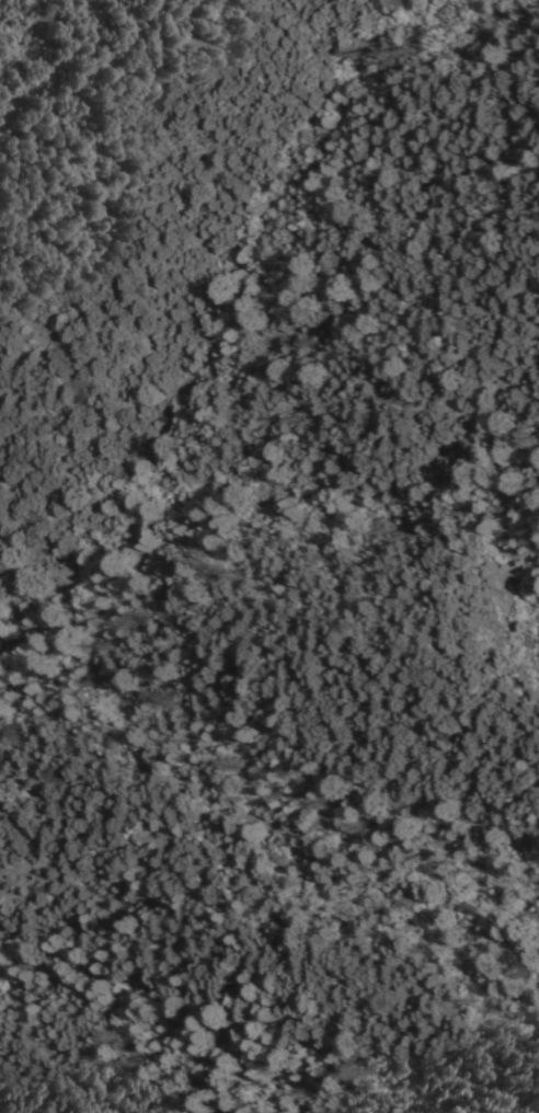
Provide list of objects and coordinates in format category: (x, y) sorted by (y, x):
road: (231, 874)

